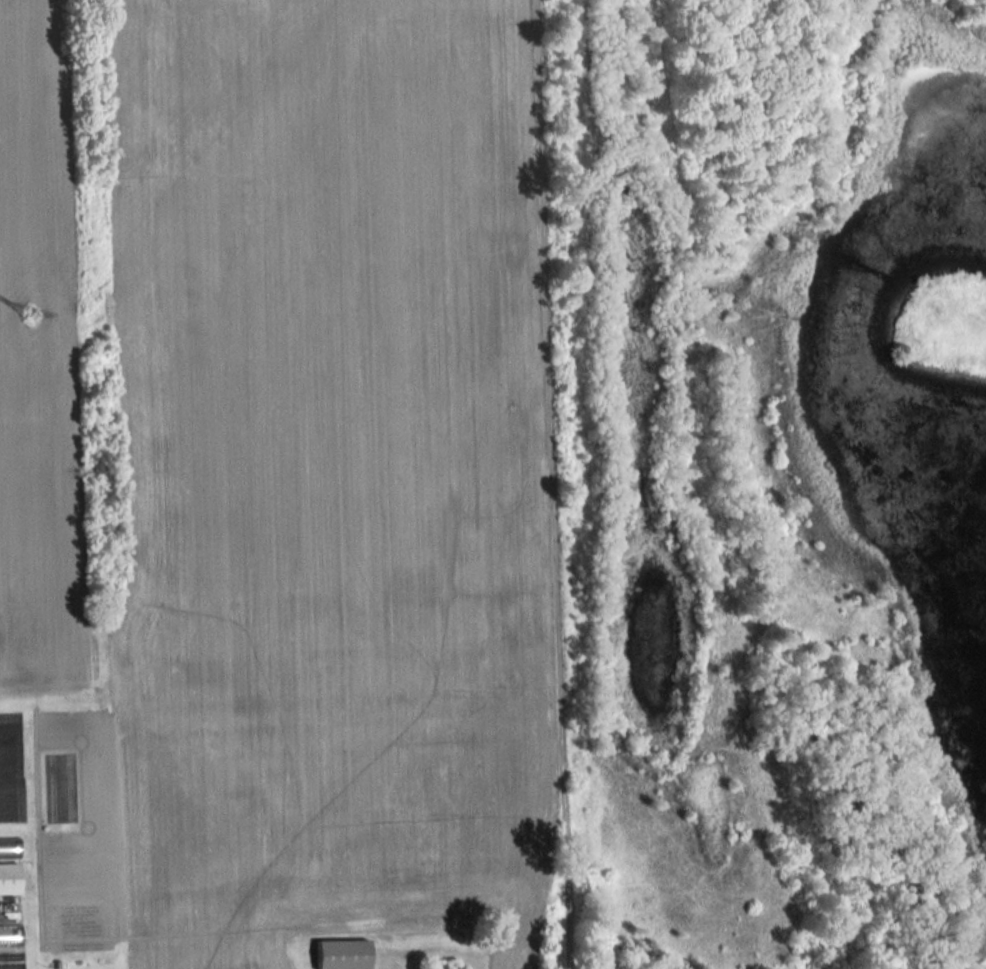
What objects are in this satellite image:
power tower: (33, 315)
crop: (300, 465)
building: (9, 848)
building: (9, 878)
building: (10, 936)
building: (343, 954)

